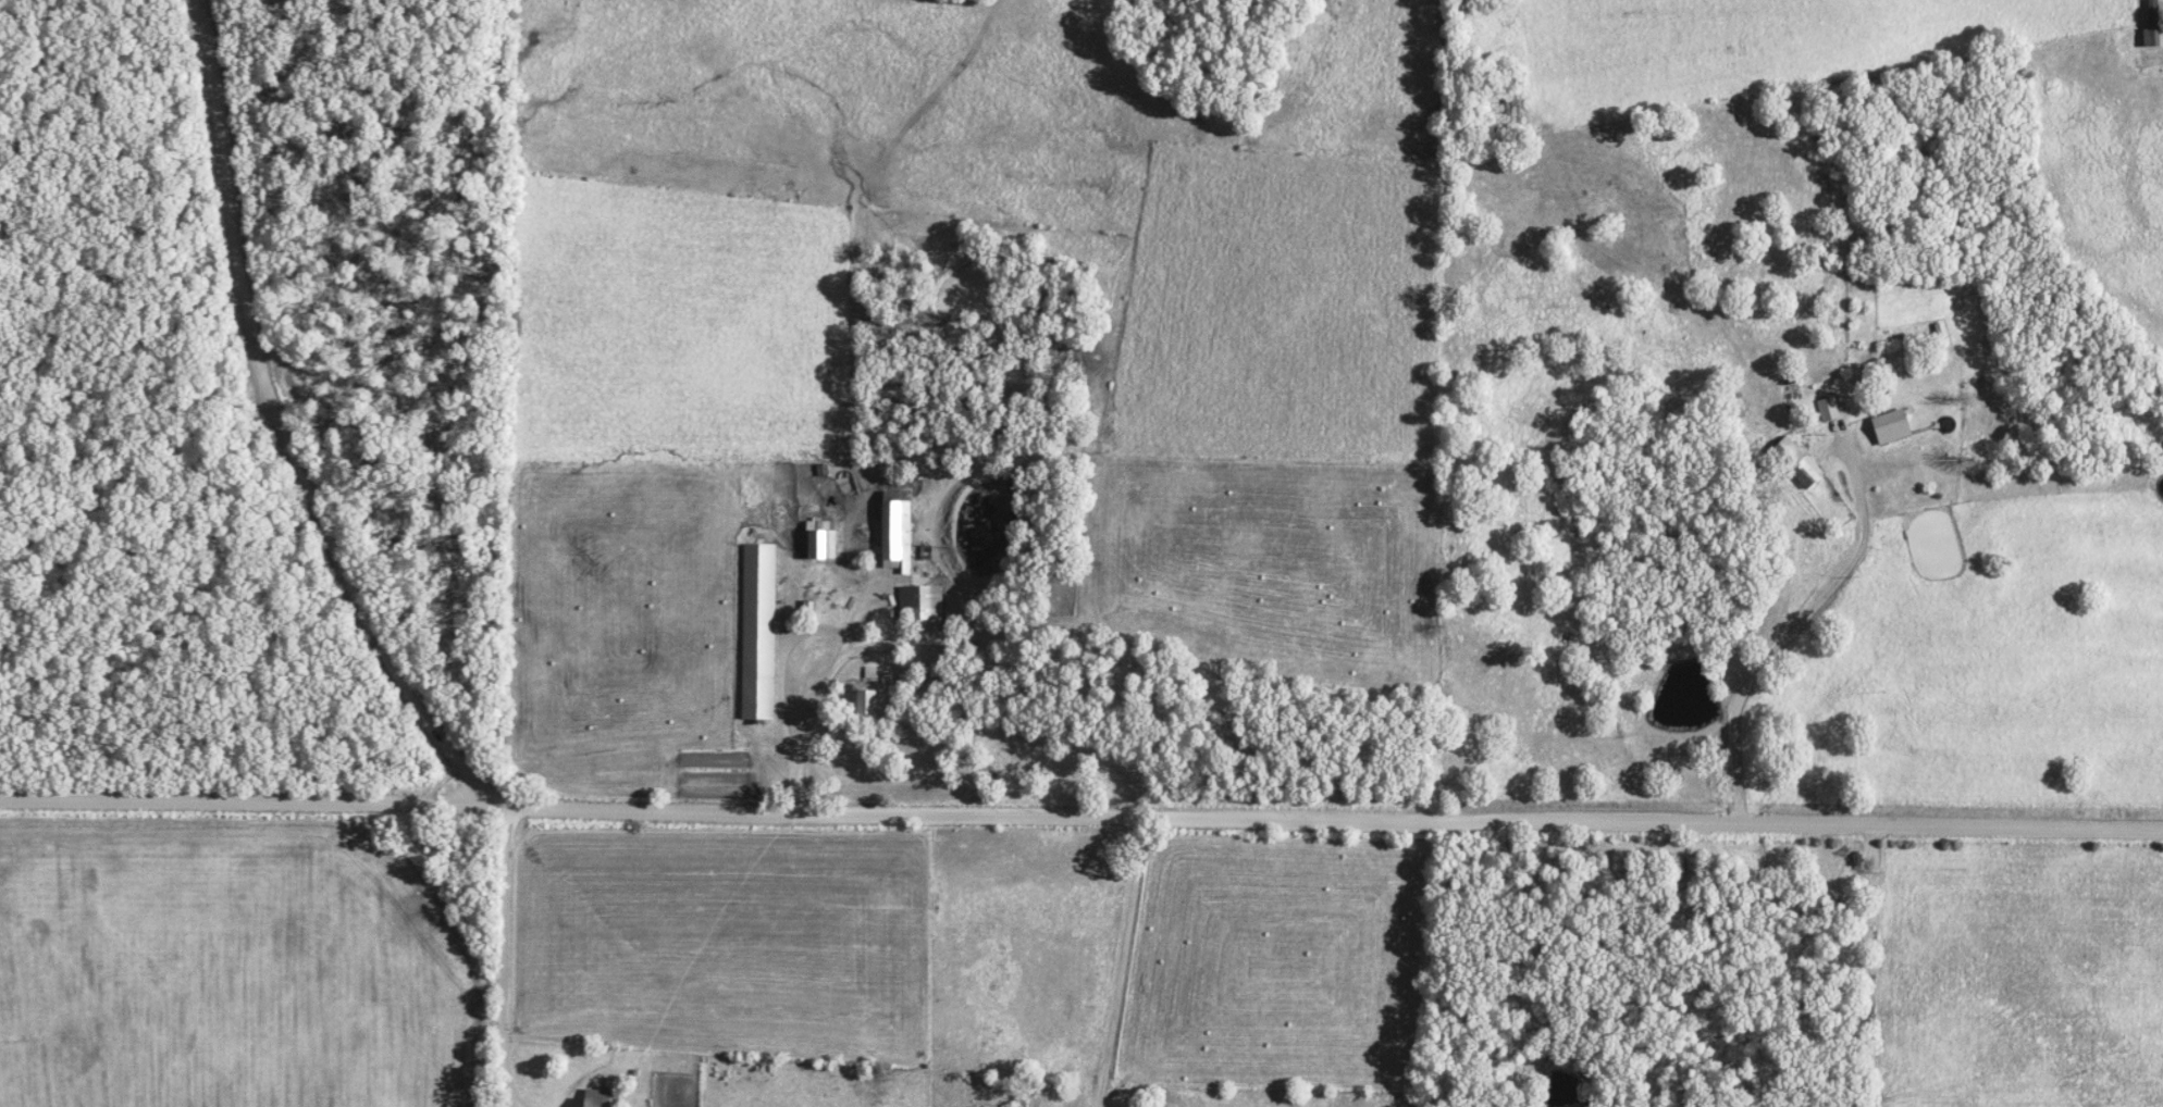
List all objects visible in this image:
building: (2148, 37)
building: (1826, 409)
building: (1887, 427)
road: (279, 432)
building: (1794, 462)
building: (893, 531)
building: (818, 540)
building: (920, 604)
road: (888, 606)
road: (1791, 624)
building: (756, 632)
road: (833, 638)
building: (861, 700)
road: (1080, 816)
road: (496, 958)
road: (1113, 966)
road: (1089, 1093)
building: (592, 1099)

